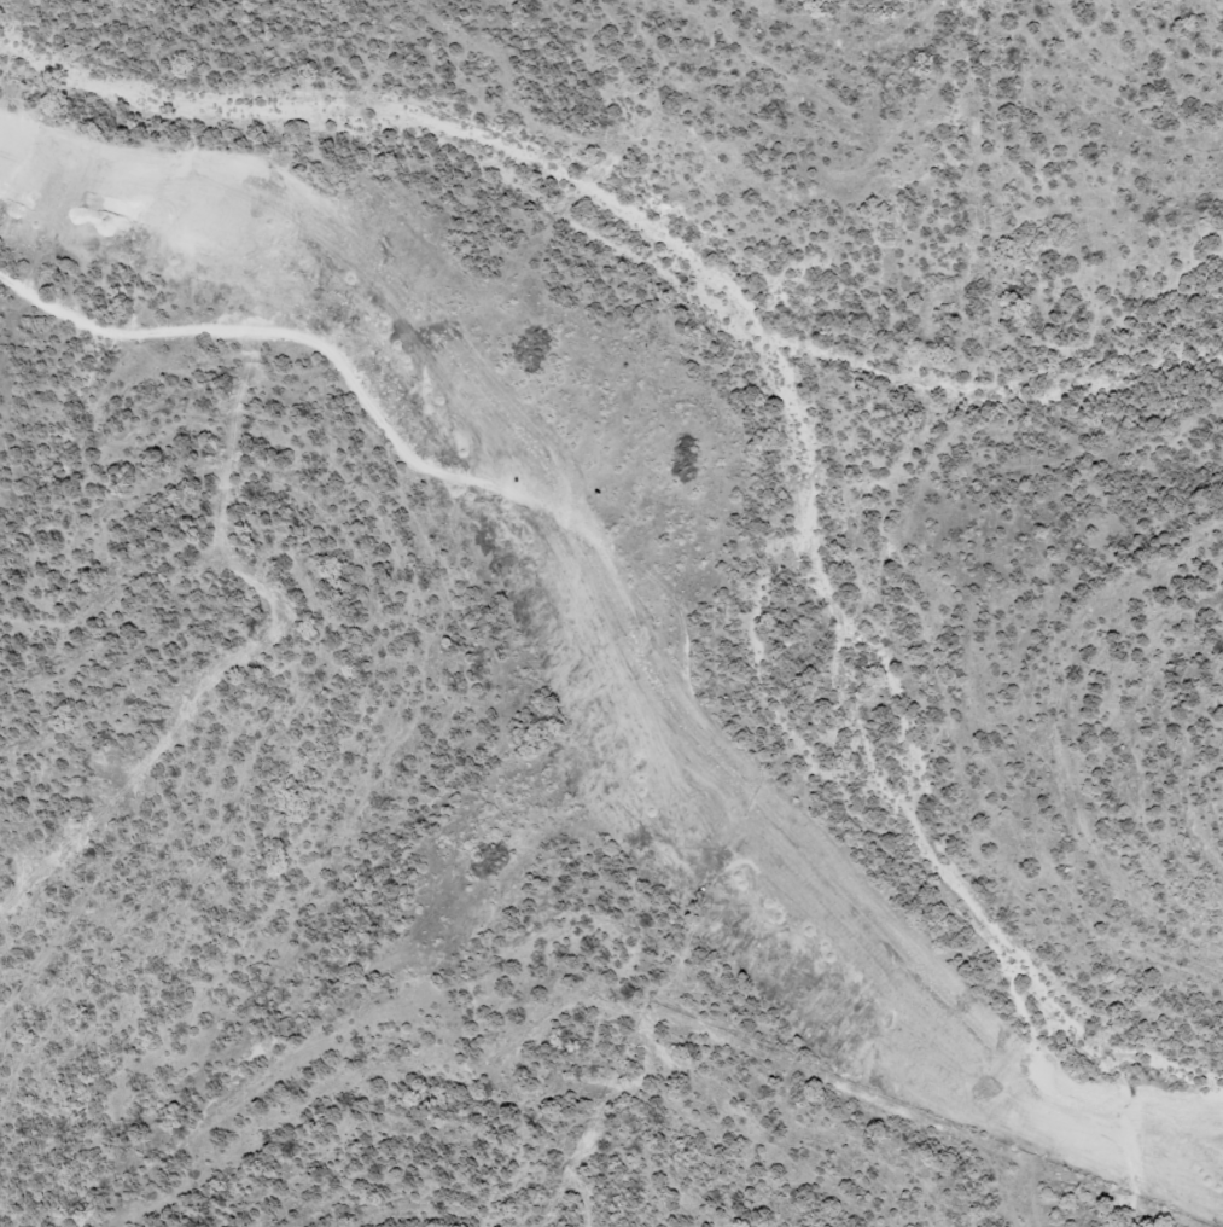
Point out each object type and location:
road: (664, 646)

